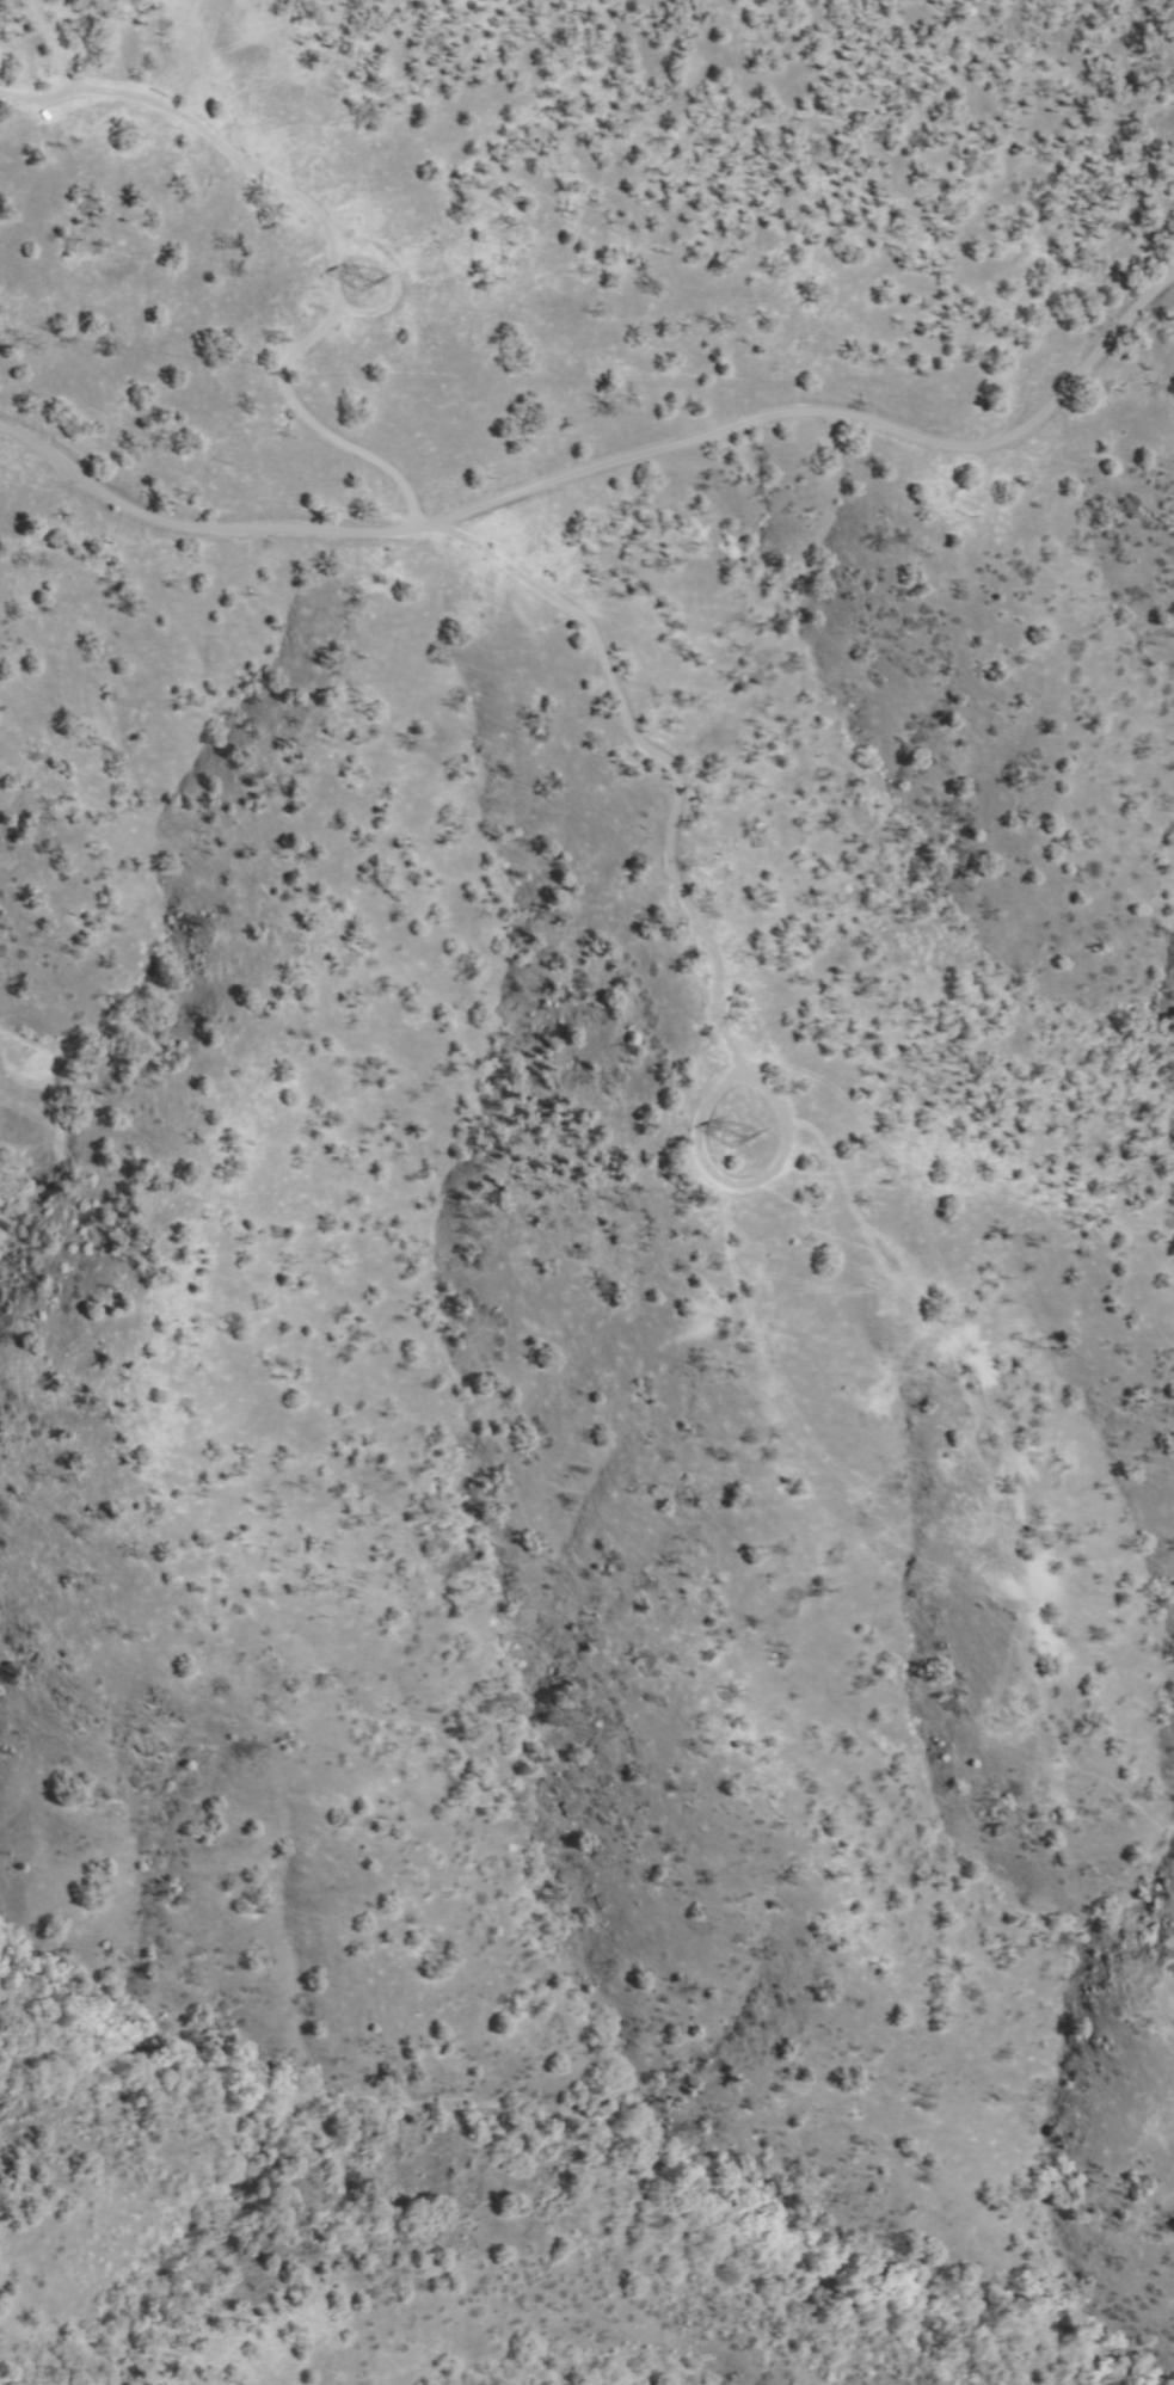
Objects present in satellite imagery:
power tower: (357, 276)
road: (652, 451)
road: (73, 536)
road: (67, 800)
power tower: (730, 1131)

